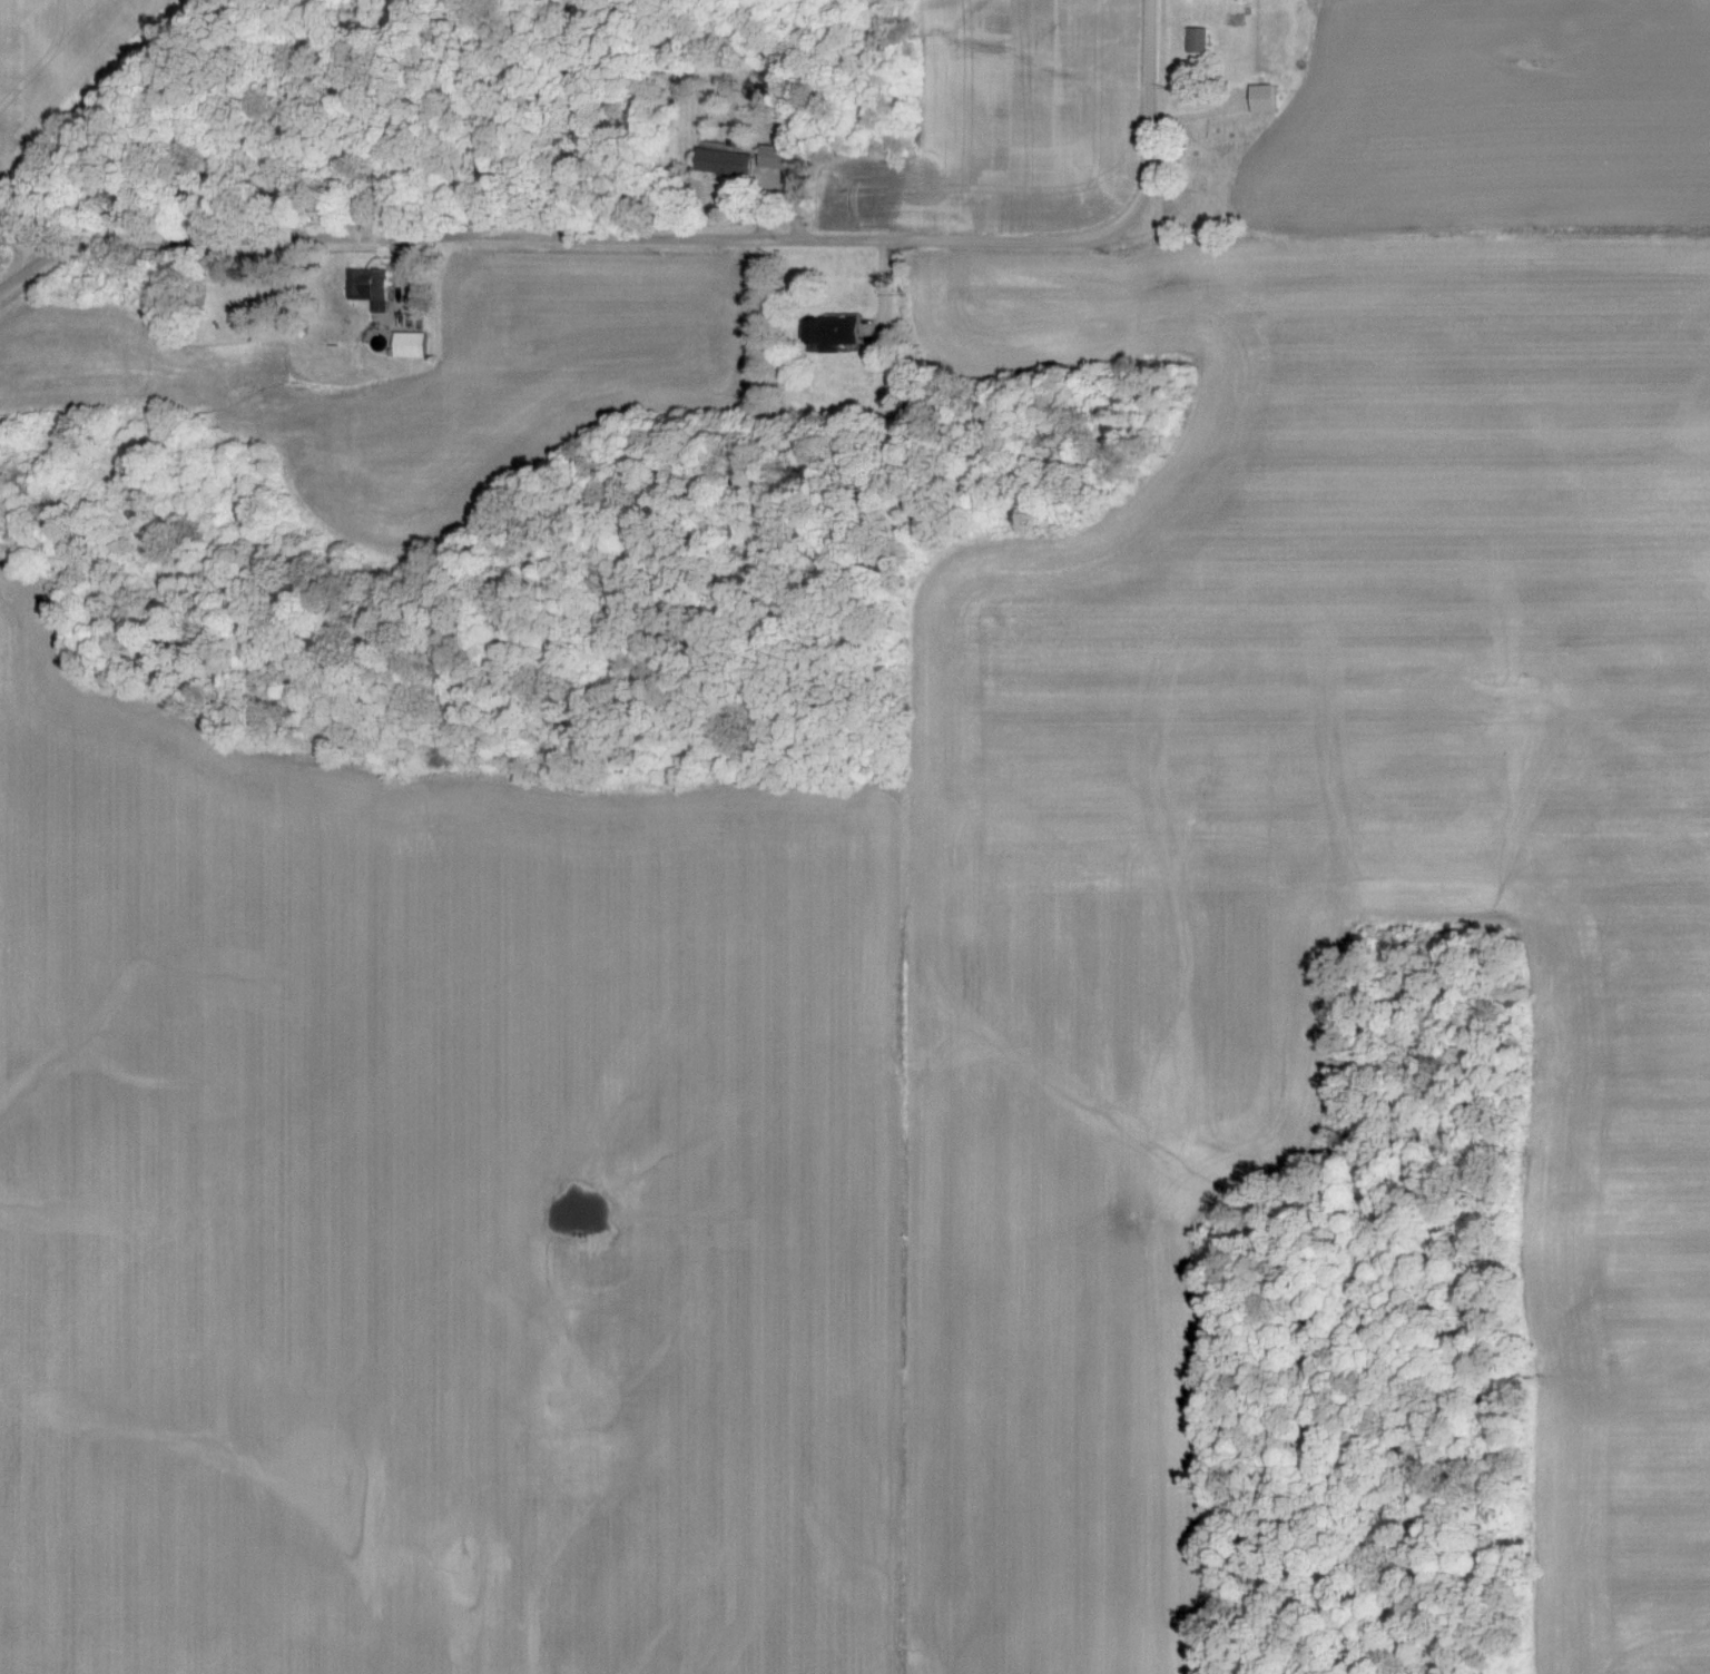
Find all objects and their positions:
building: (1200, 42)
building: (1265, 100)
building: (780, 158)
building: (728, 164)
road: (1112, 225)
road: (434, 235)
building: (374, 288)
road: (881, 302)
building: (837, 334)
building: (414, 347)
building: (244, 518)

